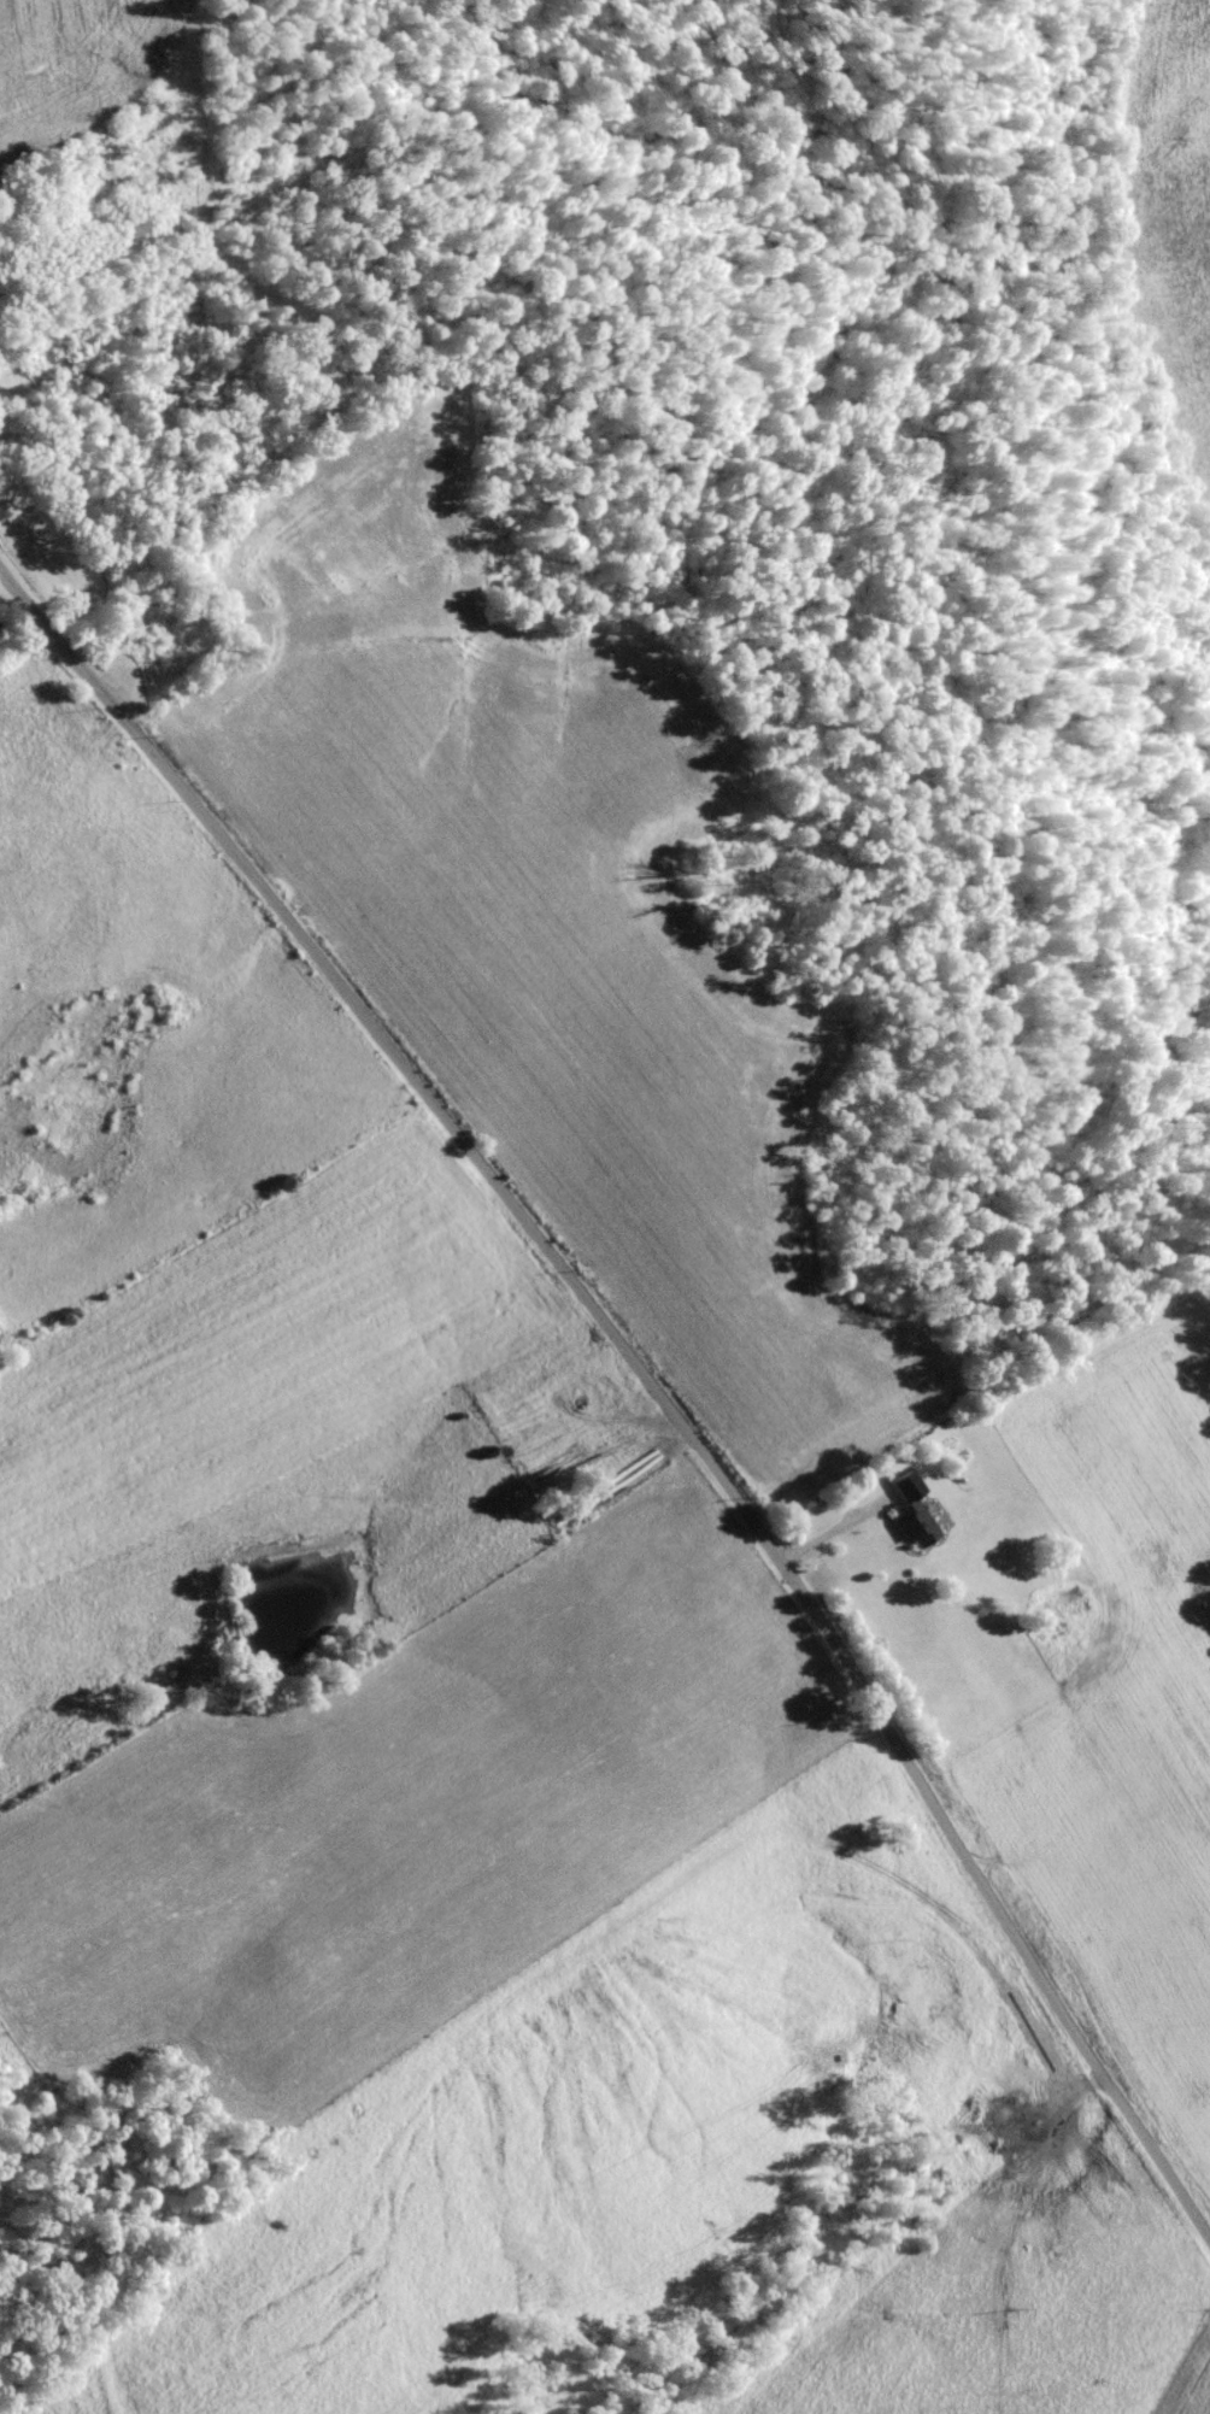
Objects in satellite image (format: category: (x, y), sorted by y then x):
road: (650, 1322)
building: (916, 1523)

